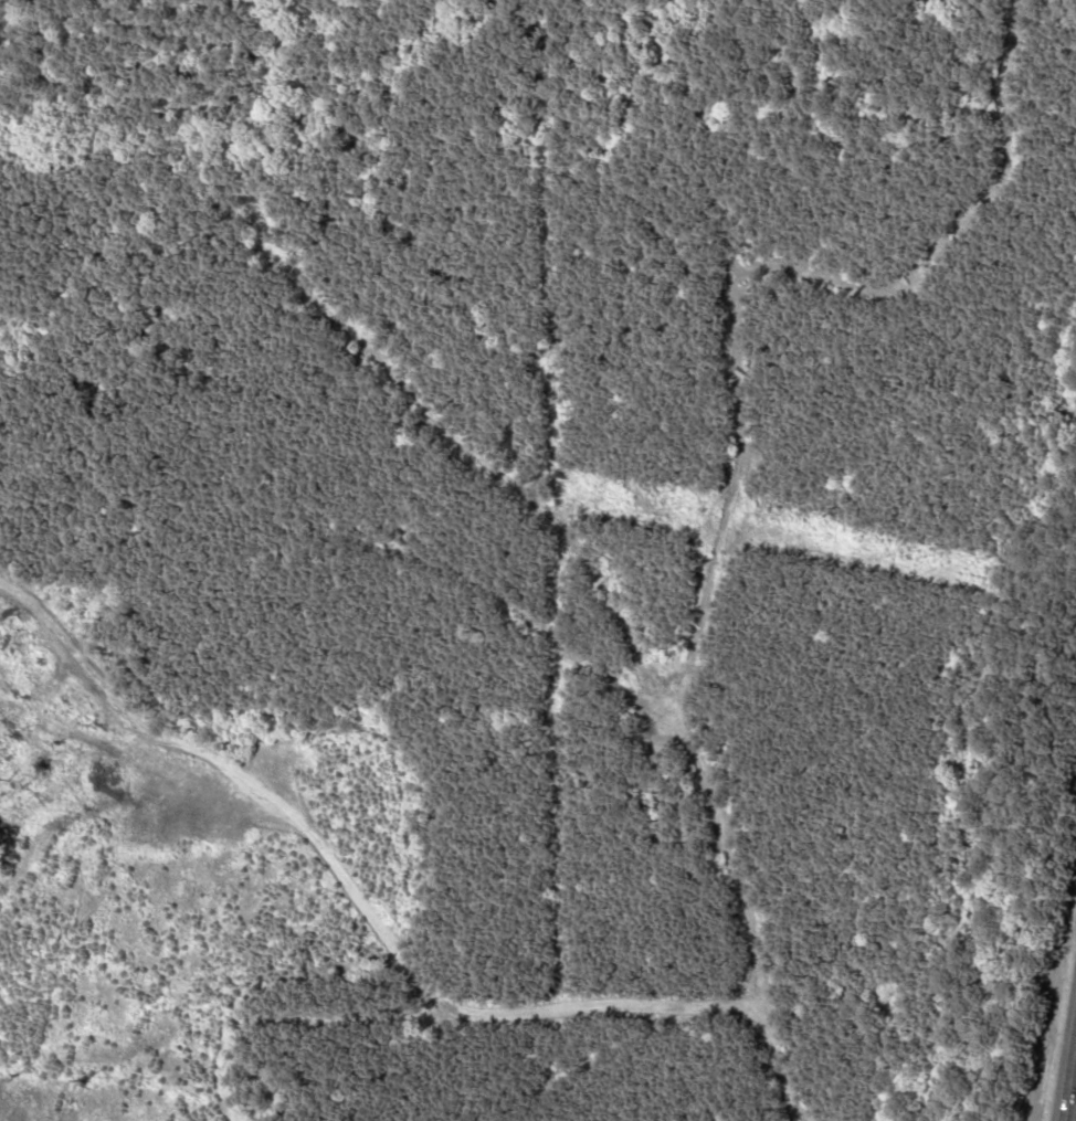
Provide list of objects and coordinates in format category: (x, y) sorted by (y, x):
road: (1069, 1080)

